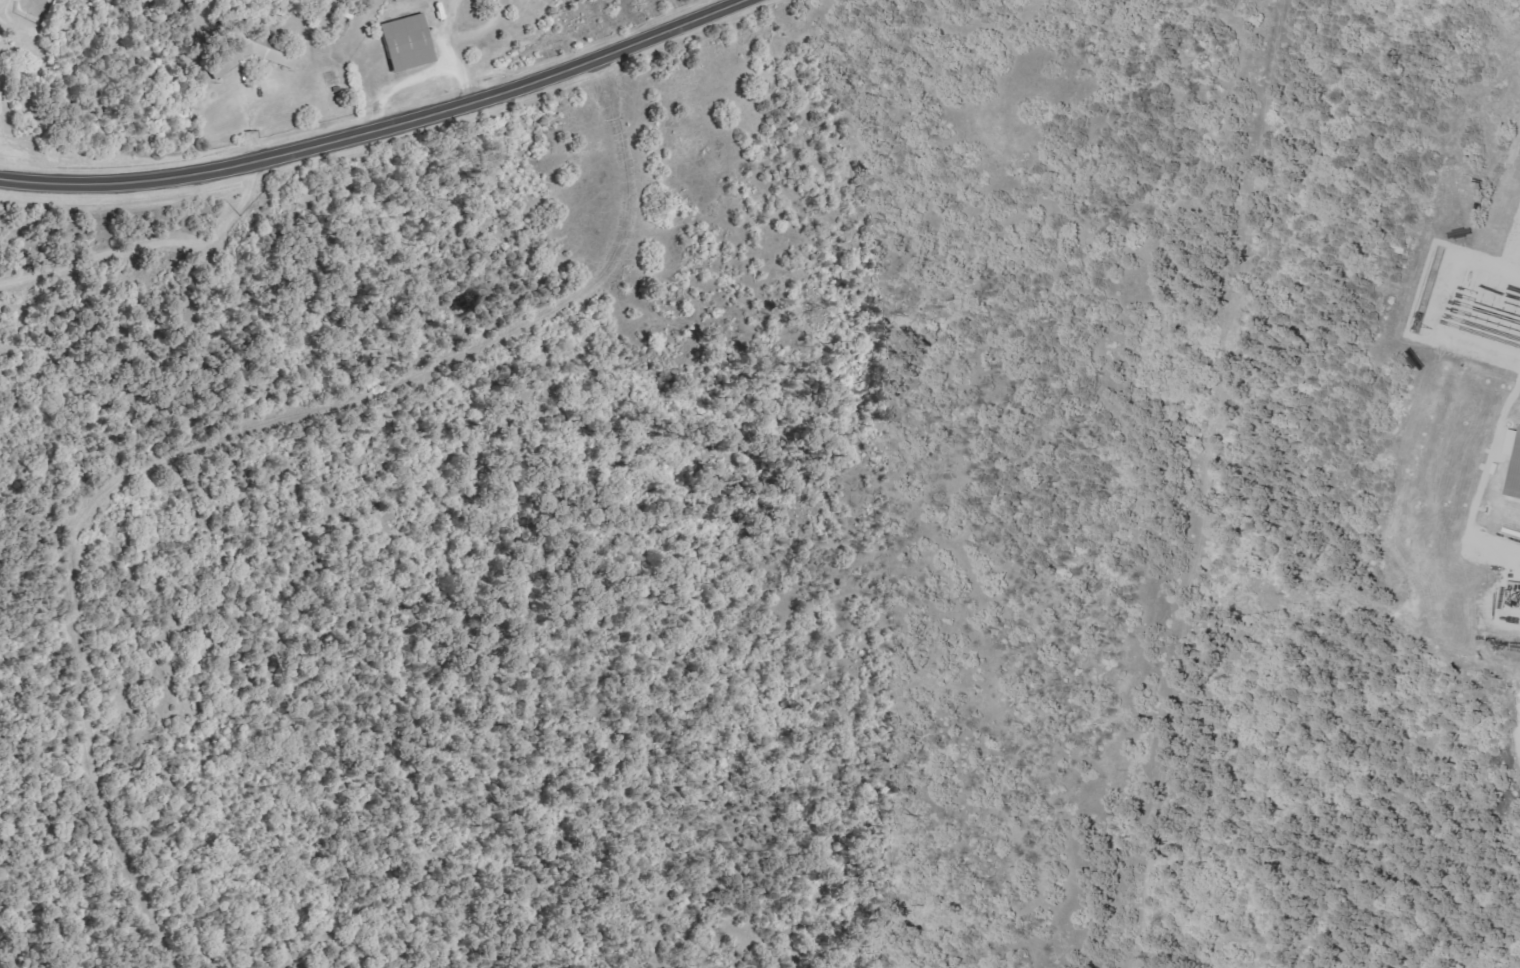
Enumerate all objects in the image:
building: (414, 42)
road: (185, 103)
road: (372, 121)
road: (223, 432)
building: (1517, 476)

